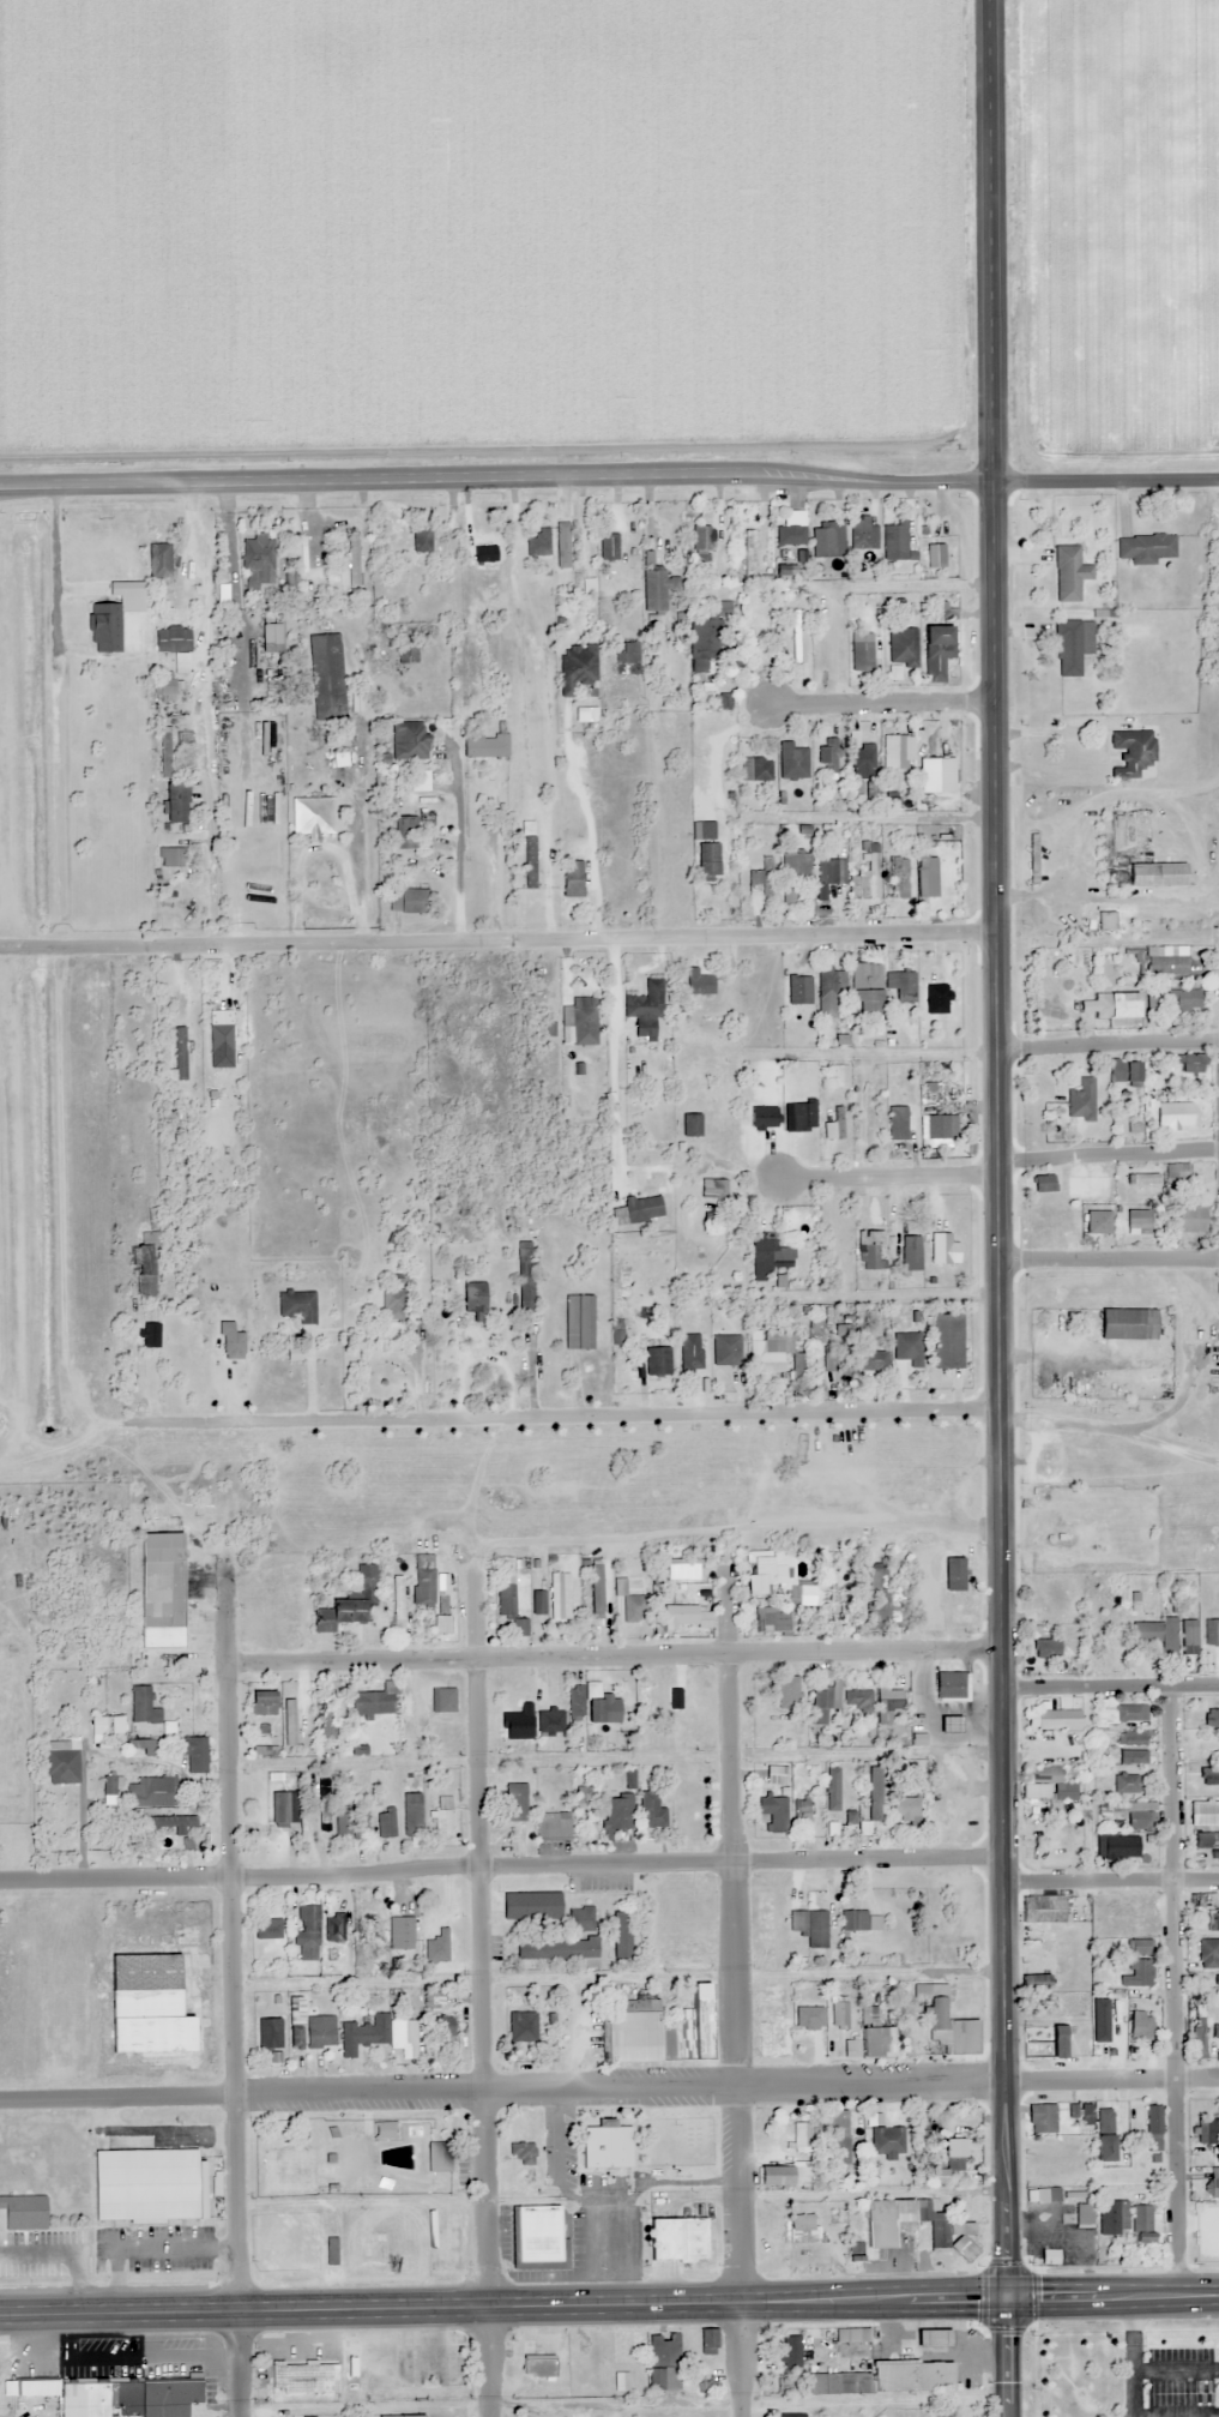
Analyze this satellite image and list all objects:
road: (989, 241)
road: (609, 489)
building: (862, 533)
building: (838, 539)
building: (700, 540)
building: (893, 540)
building: (537, 541)
building: (789, 541)
building: (421, 546)
building: (483, 546)
building: (607, 546)
building: (1143, 547)
building: (749, 551)
building: (561, 553)
building: (934, 555)
building: (258, 558)
building: (157, 560)
building: (352, 561)
building: (1068, 573)
building: (653, 590)
building: (796, 635)
building: (171, 638)
building: (270, 638)
building: (701, 643)
building: (1072, 644)
building: (901, 648)
building: (935, 651)
building: (859, 655)
building: (626, 657)
building: (575, 666)
building: (326, 674)
building: (164, 689)
building: (722, 701)
road: (881, 703)
road: (994, 707)
building: (265, 738)
building: (408, 740)
building: (947, 744)
building: (484, 746)
building: (897, 751)
building: (1130, 751)
building: (164, 752)
building: (827, 756)
building: (792, 760)
building: (862, 760)
building: (754, 769)
building: (173, 802)
building: (310, 814)
road: (206, 824)
building: (404, 831)
building: (706, 850)
building: (169, 856)
building: (529, 861)
building: (795, 867)
building: (829, 871)
building: (869, 873)
building: (1154, 873)
road: (458, 877)
building: (760, 877)
building: (897, 877)
building: (927, 877)
building: (571, 878)
building: (404, 900)
building: (1105, 920)
road: (497, 939)
building: (1163, 962)
building: (696, 981)
building: (831, 984)
building: (901, 985)
building: (865, 987)
building: (798, 990)
building: (935, 998)
building: (1183, 998)
road: (618, 1005)
building: (1111, 1005)
building: (644, 1006)
building: (578, 1012)
road: (1106, 1041)
building: (1190, 1063)
building: (1123, 1070)
building: (869, 1093)
building: (1081, 1099)
building: (755, 1106)
building: (1172, 1116)
building: (895, 1122)
building: (689, 1124)
building: (936, 1126)
building: (838, 1129)
road: (1106, 1153)
building: (1176, 1172)
road: (886, 1177)
building: (1141, 1178)
building: (1042, 1183)
railway: (31, 1208)
building: (638, 1209)
building: (1189, 1219)
building: (1099, 1220)
building: (1136, 1221)
building: (910, 1253)
building: (867, 1256)
building: (761, 1258)
road: (1109, 1258)
building: (149, 1264)
building: (523, 1269)
building: (473, 1299)
building: (394, 1301)
building: (298, 1306)
building: (222, 1312)
building: (578, 1322)
building: (1126, 1323)
building: (946, 1340)
building: (906, 1348)
building: (725, 1349)
building: (689, 1352)
building: (766, 1353)
building: (871, 1360)
building: (656, 1361)
building: (846, 1365)
road: (561, 1415)
railway: (609, 1467)
road: (736, 1527)
building: (689, 1570)
building: (776, 1577)
building: (421, 1585)
building: (595, 1587)
building: (158, 1589)
building: (629, 1599)
building: (397, 1601)
building: (348, 1603)
building: (885, 1606)
building: (507, 1607)
road: (1000, 1613)
building: (678, 1615)
building: (771, 1622)
building: (440, 1623)
building: (1109, 1627)
building: (1211, 1630)
building: (1157, 1635)
building: (1044, 1647)
road: (611, 1654)
road: (1110, 1684)
building: (948, 1685)
building: (784, 1690)
building: (674, 1697)
building: (641, 1698)
building: (372, 1700)
building: (856, 1700)
building: (261, 1702)
building: (821, 1702)
building: (138, 1703)
building: (592, 1703)
building: (887, 1704)
building: (694, 1706)
building: (1118, 1713)
building: (1211, 1716)
building: (294, 1718)
building: (1057, 1718)
building: (517, 1720)
building: (322, 1722)
building: (947, 1722)
building: (1132, 1737)
building: (265, 1750)
building: (193, 1752)
building: (1130, 1756)
building: (60, 1766)
building: (1209, 1774)
building: (771, 1775)
building: (1124, 1782)
building: (109, 1785)
building: (831, 1788)
building: (1043, 1790)
building: (150, 1791)
building: (873, 1792)
building: (259, 1802)
building: (514, 1802)
building: (284, 1808)
building: (904, 1808)
building: (648, 1810)
building: (616, 1811)
building: (772, 1811)
building: (799, 1811)
building: (411, 1812)
building: (1203, 1812)
building: (170, 1820)
building: (439, 1820)
building: (351, 1821)
building: (384, 1821)
building: (550, 1824)
building: (1132, 1830)
building: (1206, 1839)
building: (181, 1842)
road: (500, 1864)
road: (1110, 1878)
building: (529, 1905)
building: (1040, 1908)
building: (580, 1918)
building: (852, 1919)
building: (1211, 1919)
road: (731, 1924)
building: (809, 1925)
building: (333, 1926)
building: (266, 1928)
building: (368, 1928)
building: (306, 1932)
building: (403, 1932)
building: (620, 1934)
building: (1202, 1944)
building: (436, 1946)
building: (1137, 1946)
building: (554, 1948)
building: (1135, 1973)
road: (478, 1979)
building: (1033, 1980)
road: (230, 1988)
road: (1173, 1988)
building: (145, 2003)
building: (838, 2013)
building: (292, 2024)
building: (1139, 2024)
building: (521, 2026)
building: (947, 2026)
building: (656, 2027)
building: (440, 2028)
building: (319, 2031)
building: (379, 2033)
building: (267, 2034)
building: (869, 2036)
building: (1040, 2039)
building: (1202, 2042)
road: (1111, 2079)
road: (501, 2087)
building: (1080, 2111)
building: (1039, 2117)
building: (1152, 2127)
building: (382, 2129)
building: (1202, 2130)
building: (823, 2134)
building: (1102, 2134)
building: (886, 2141)
building: (604, 2145)
building: (519, 2152)
building: (952, 2153)
building: (437, 2156)
building: (285, 2169)
building: (782, 2175)
building: (1212, 2183)
building: (145, 2184)
building: (1045, 2194)
building: (25, 2212)
building: (1081, 2213)
building: (1110, 2215)
building: (799, 2221)
building: (1140, 2221)
building: (911, 2225)
building: (536, 2236)
building: (674, 2238)
building: (1203, 2243)
traffic signals: (1009, 2295)
road: (1114, 2295)
road: (503, 2303)
building: (705, 2340)
building: (789, 2352)
road: (1008, 2356)
road: (736, 2359)
building: (663, 2361)
building: (533, 2362)
building: (302, 2377)
building: (883, 2377)
building: (785, 2386)
building: (40, 2388)
building: (128, 2397)
building: (793, 2415)
building: (402, 2416)
building: (681, 2416)

